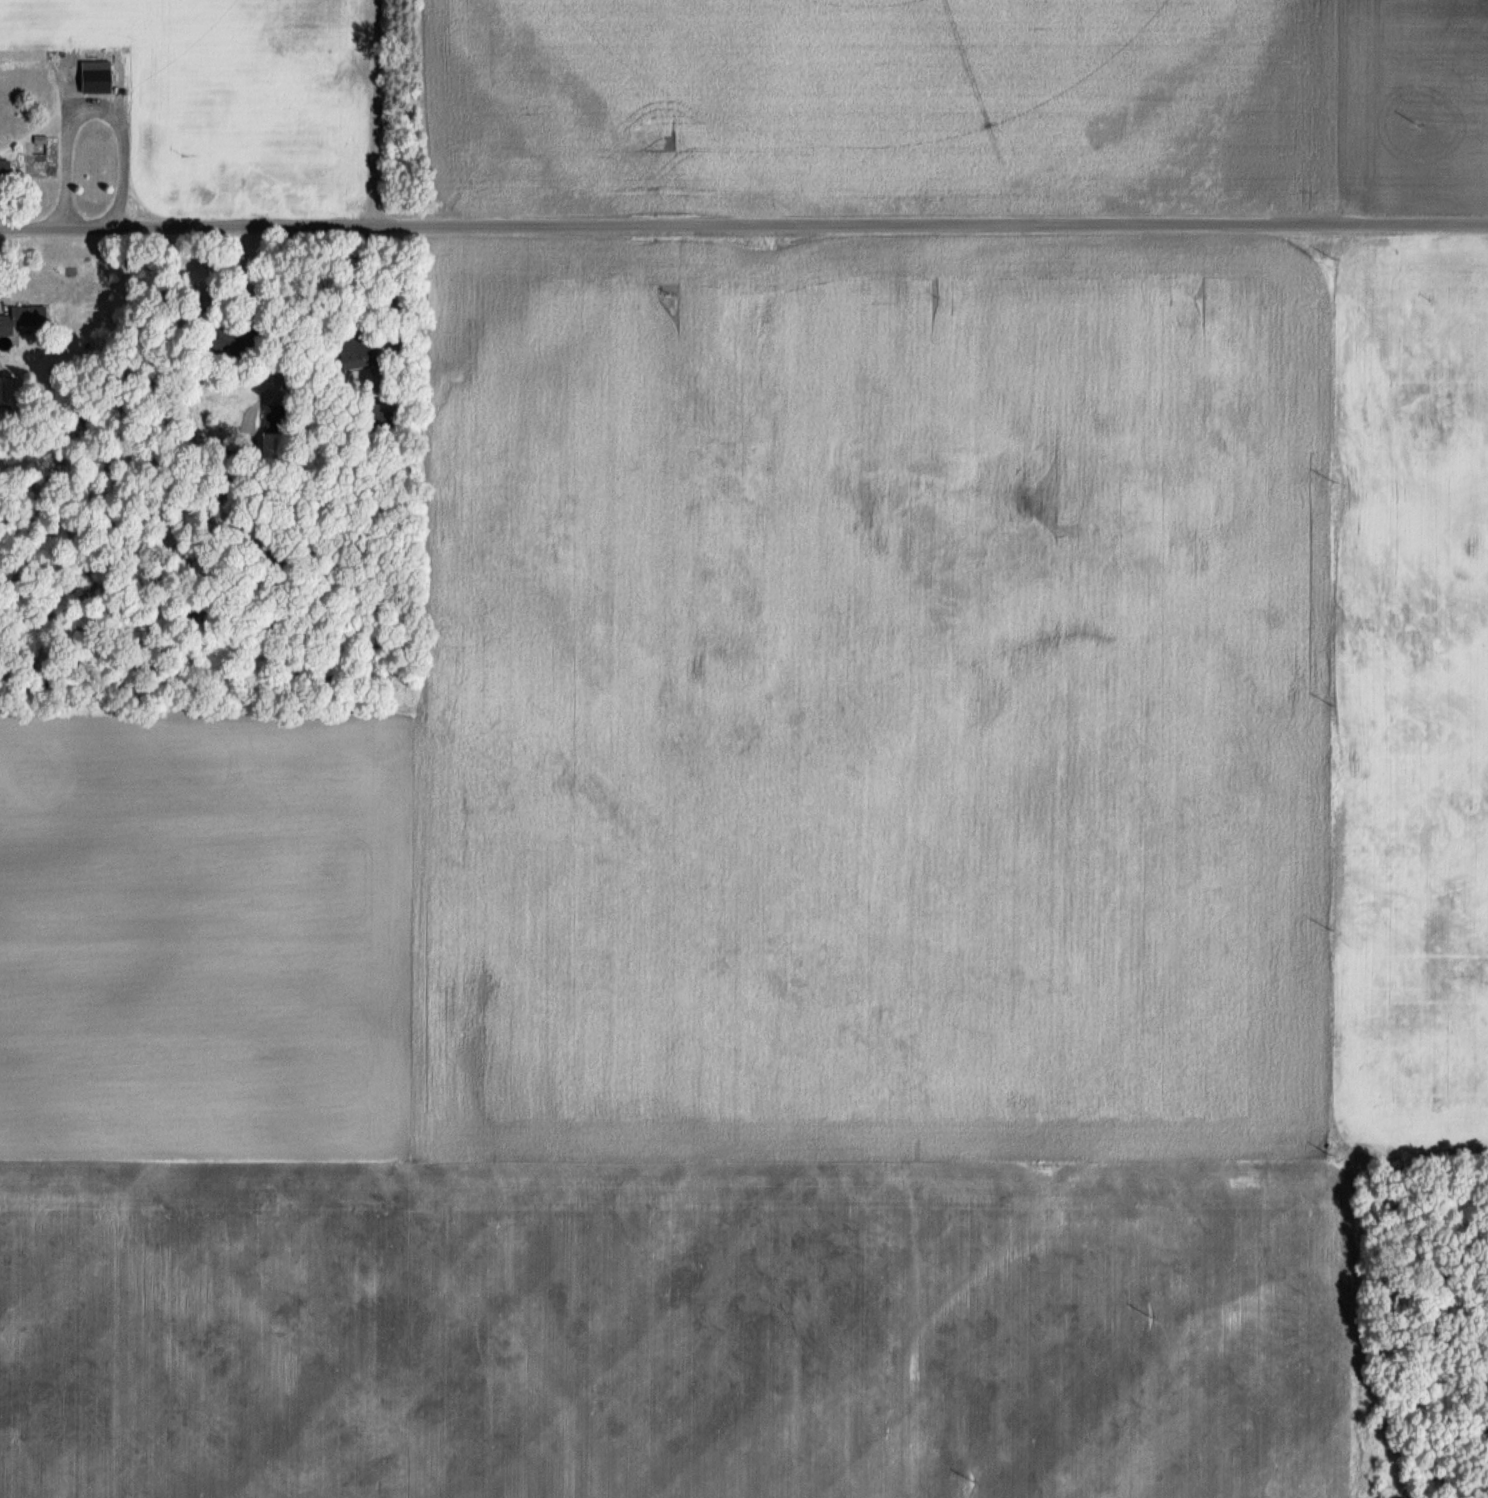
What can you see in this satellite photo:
road: (94, 58)
building: (92, 81)
building: (2, 169)
road: (743, 223)
building: (20, 320)
building: (215, 339)
building: (348, 349)
road: (744, 400)

